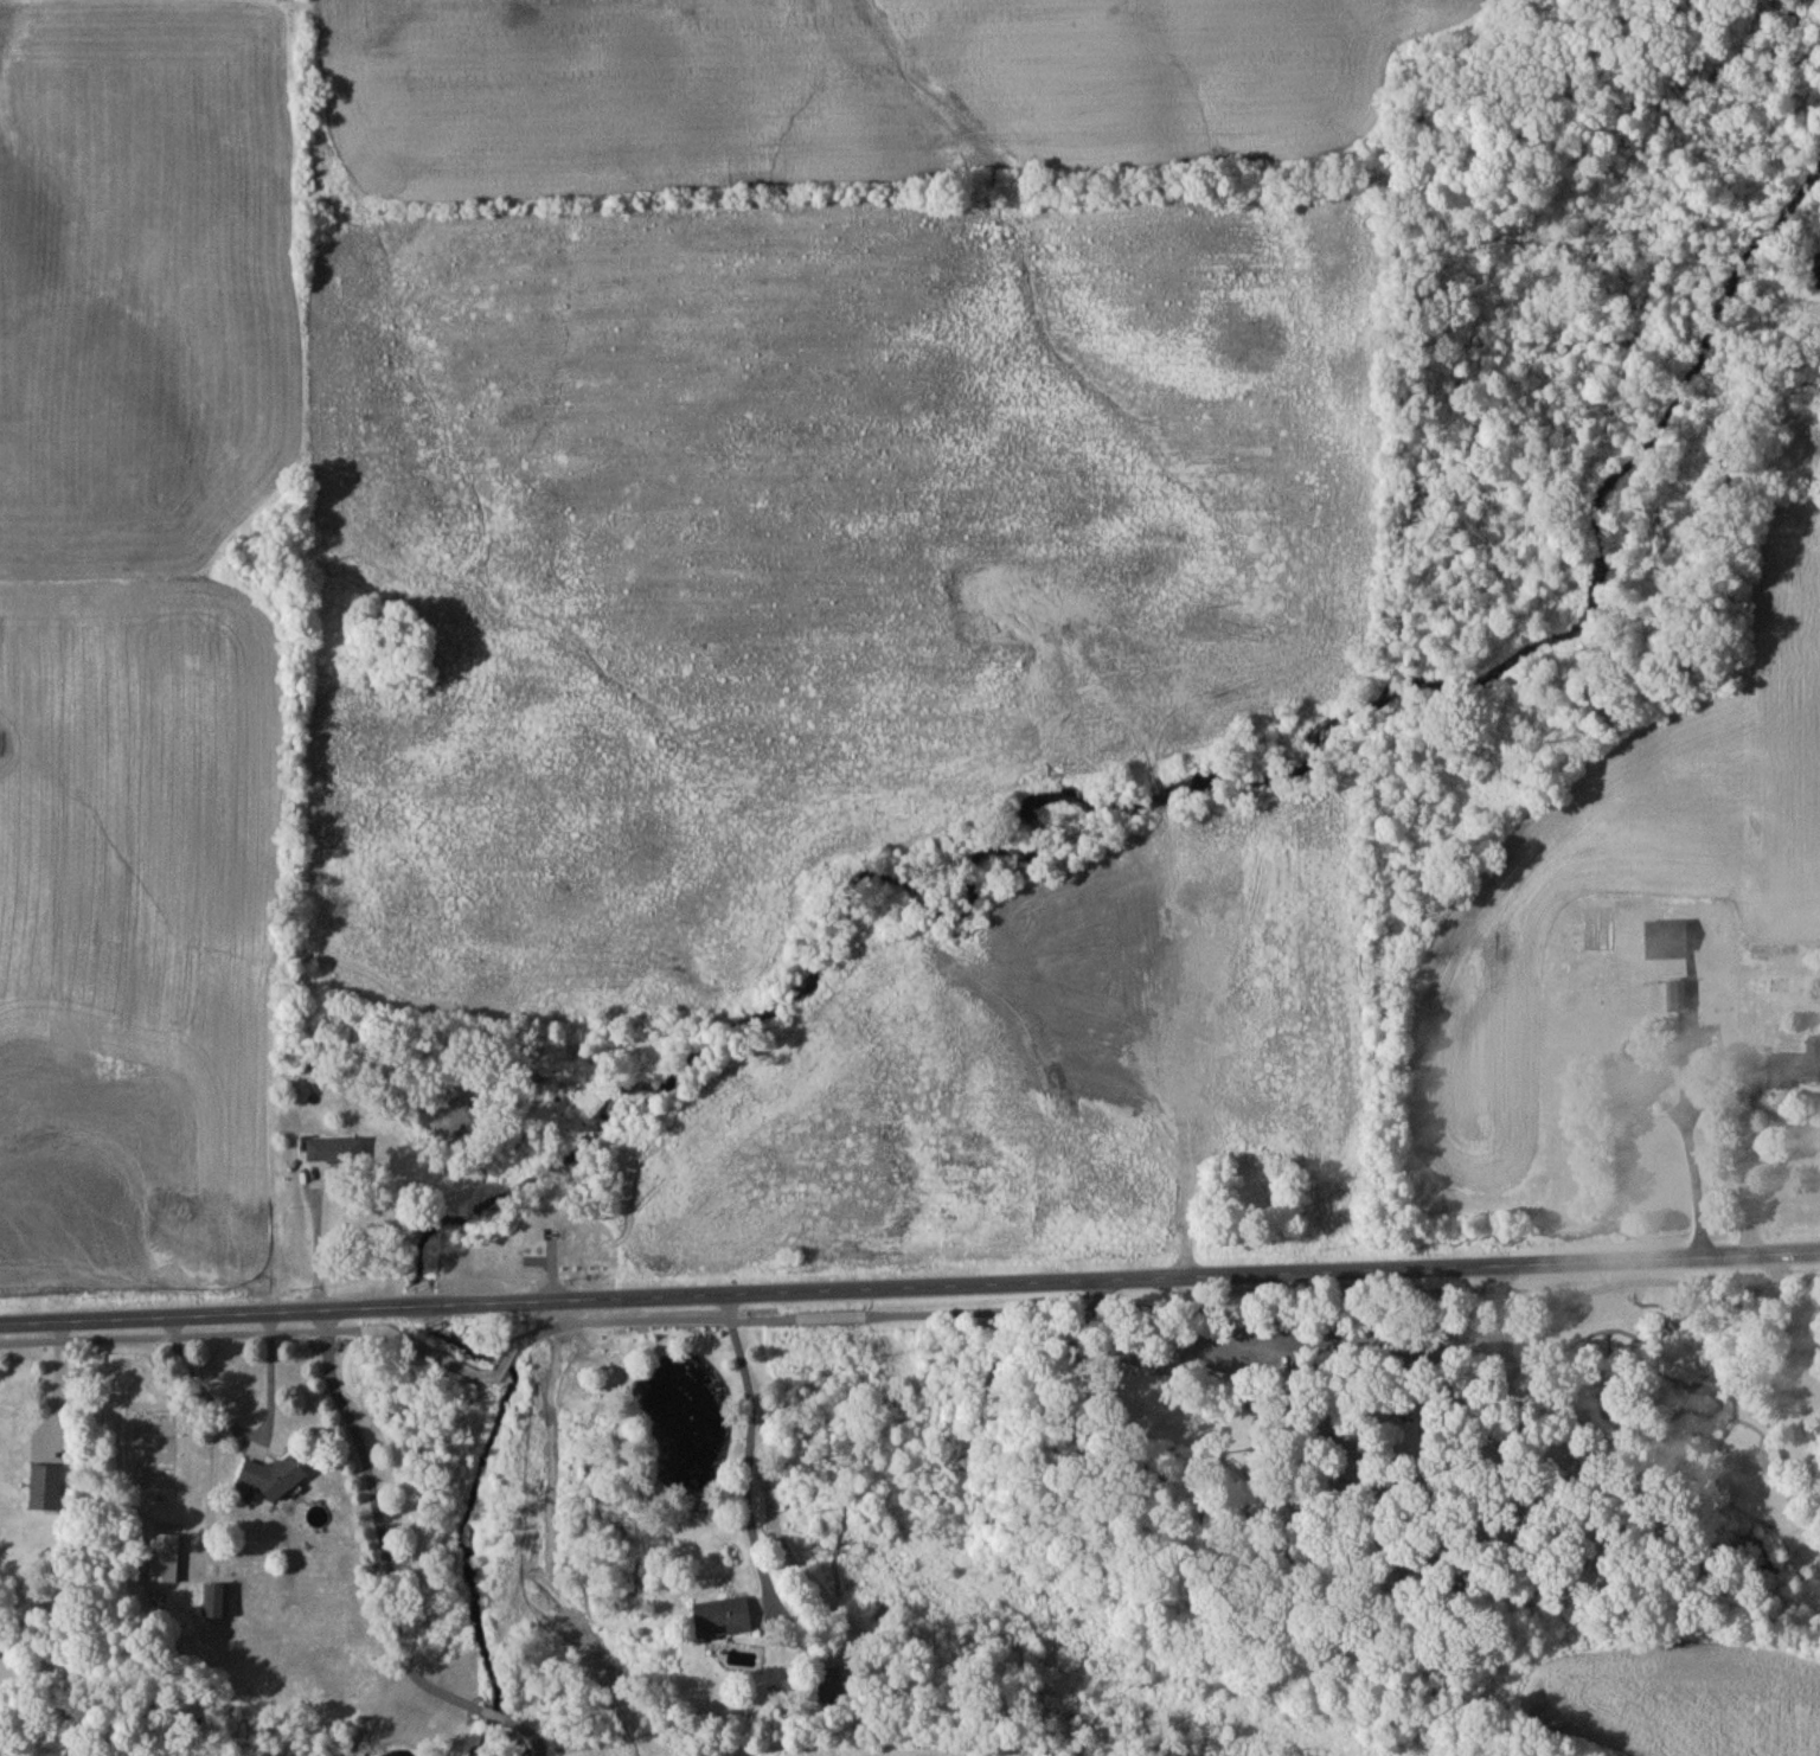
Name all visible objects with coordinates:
building: (1662, 940)
building: (1677, 996)
building: (1805, 1063)
building: (1630, 1092)
building: (337, 1149)
road: (1696, 1181)
road: (314, 1246)
road: (1809, 1249)
road: (1409, 1261)
road: (871, 1287)
road: (1497, 1296)
road: (523, 1302)
road: (1348, 1309)
road: (161, 1315)
road: (829, 1316)
road: (668, 1320)
road: (1108, 1324)
road: (179, 1337)
road: (1324, 1340)
parking lot: (1328, 1340)
road: (1659, 1354)
road: (460, 1364)
road: (1523, 1379)
road: (1549, 1385)
road: (1610, 1415)
building: (1592, 1417)
road: (242, 1430)
road: (745, 1438)
road: (1607, 1450)
park: (1424, 1453)
building: (270, 1479)
building: (46, 1487)
building: (165, 1557)
road: (384, 1568)
building: (217, 1601)
building: (724, 1617)

